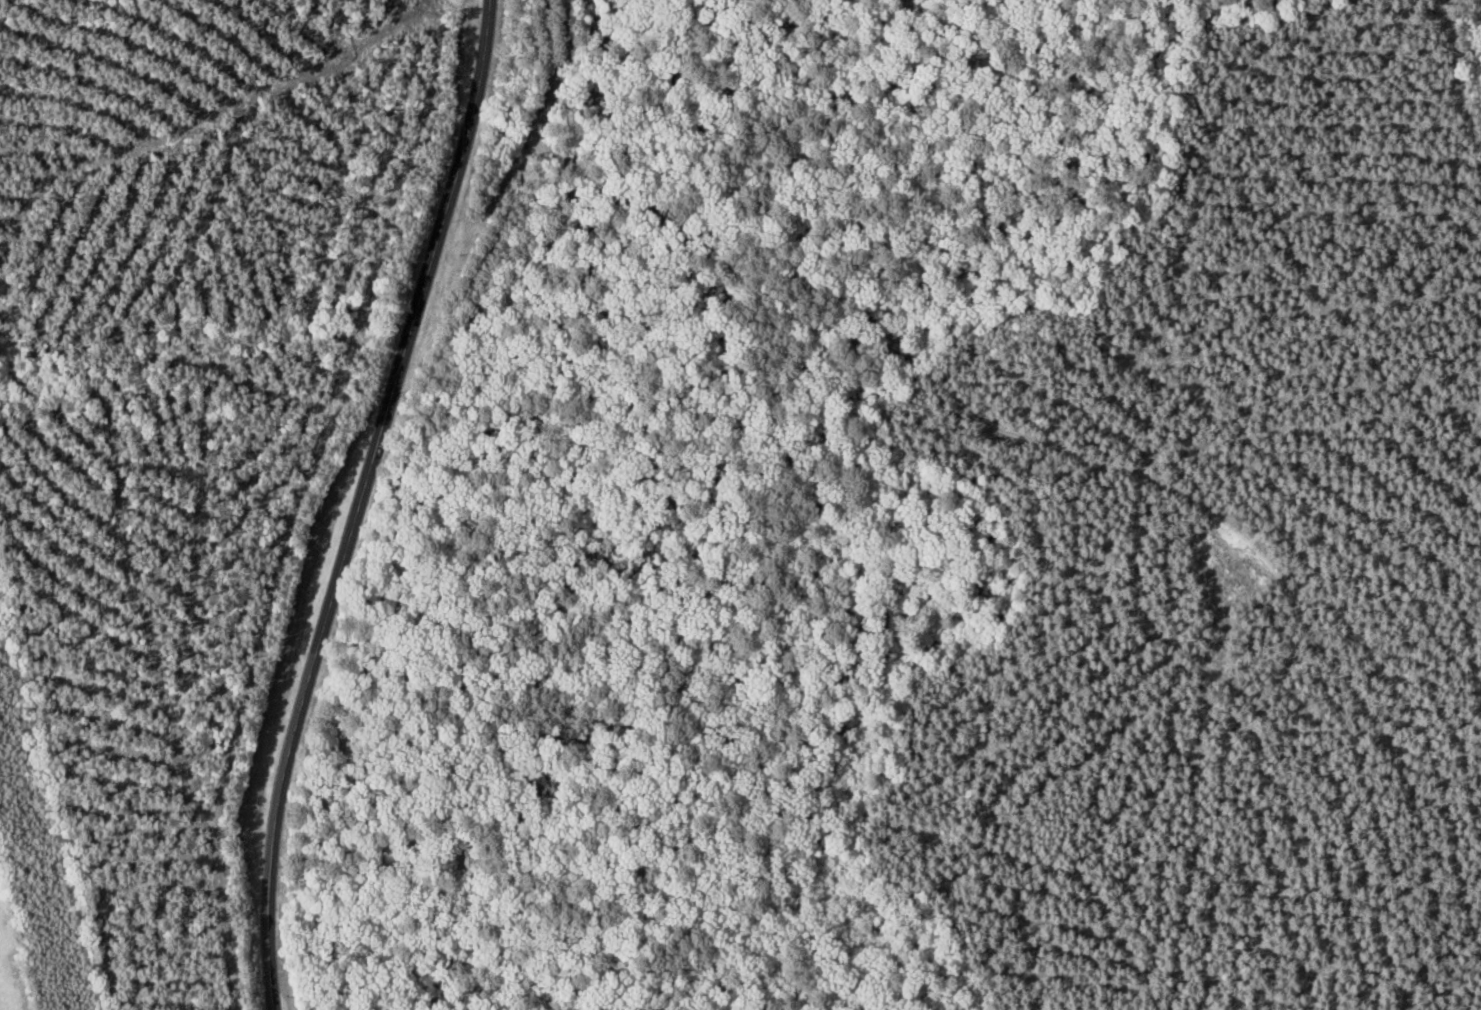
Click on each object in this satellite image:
road: (360, 502)

